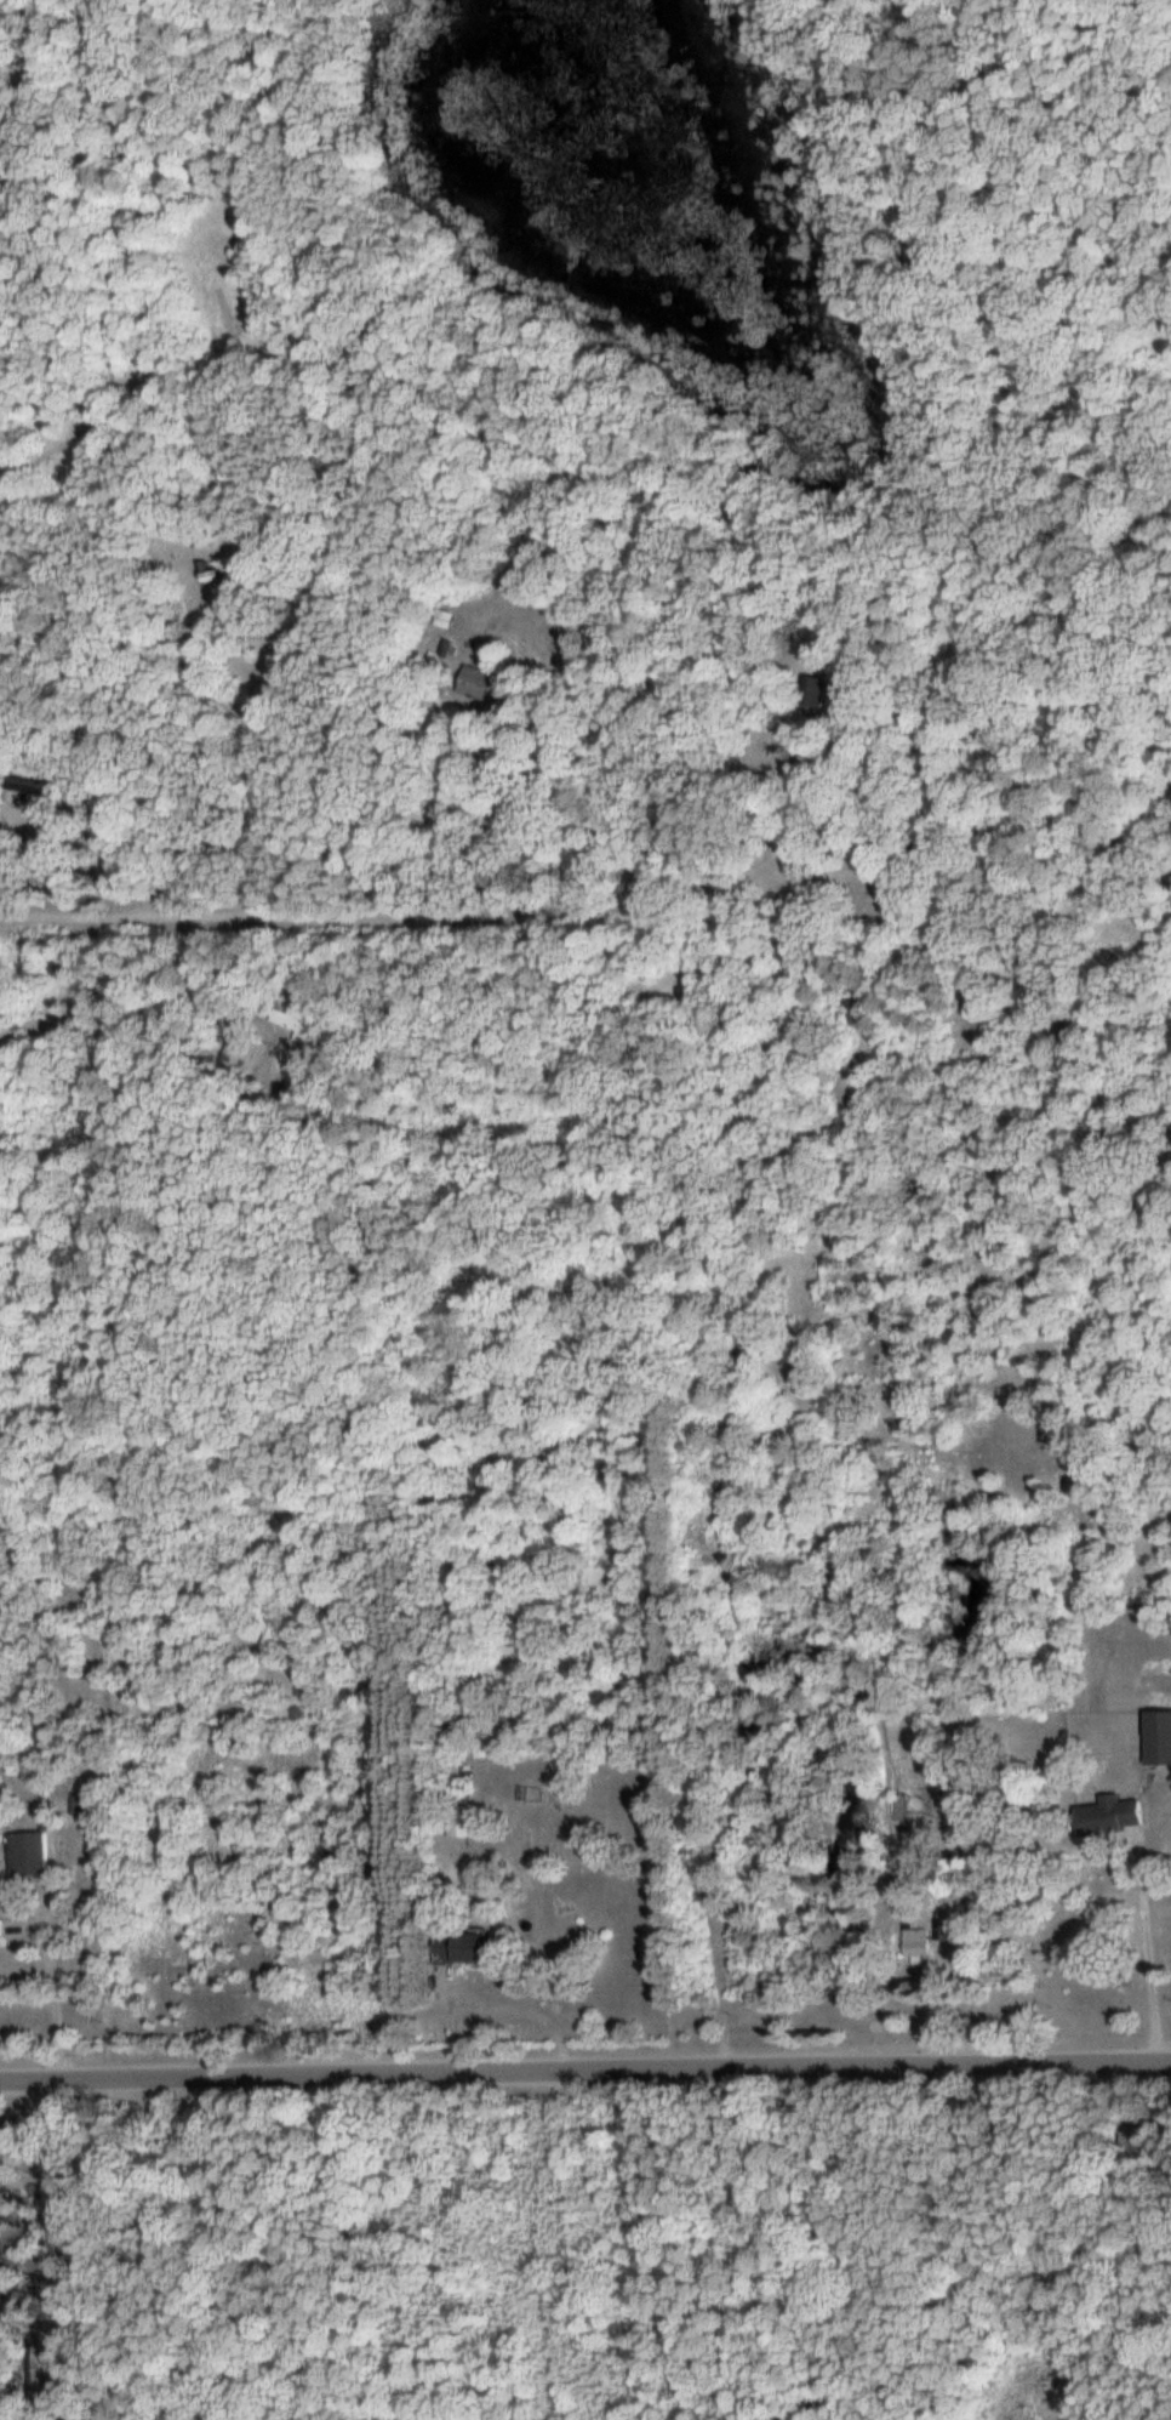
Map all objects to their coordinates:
building: (198, 536)
building: (206, 575)
building: (439, 617)
building: (470, 682)
road: (698, 883)
building: (274, 1014)
building: (63, 1017)
building: (264, 1642)
building: (1159, 1736)
building: (1114, 1817)
building: (457, 1821)
building: (29, 1852)
building: (1, 1931)
building: (912, 1940)
building: (456, 1947)
road: (1153, 1957)
road: (56, 2000)
road: (504, 2006)
road: (585, 2067)

